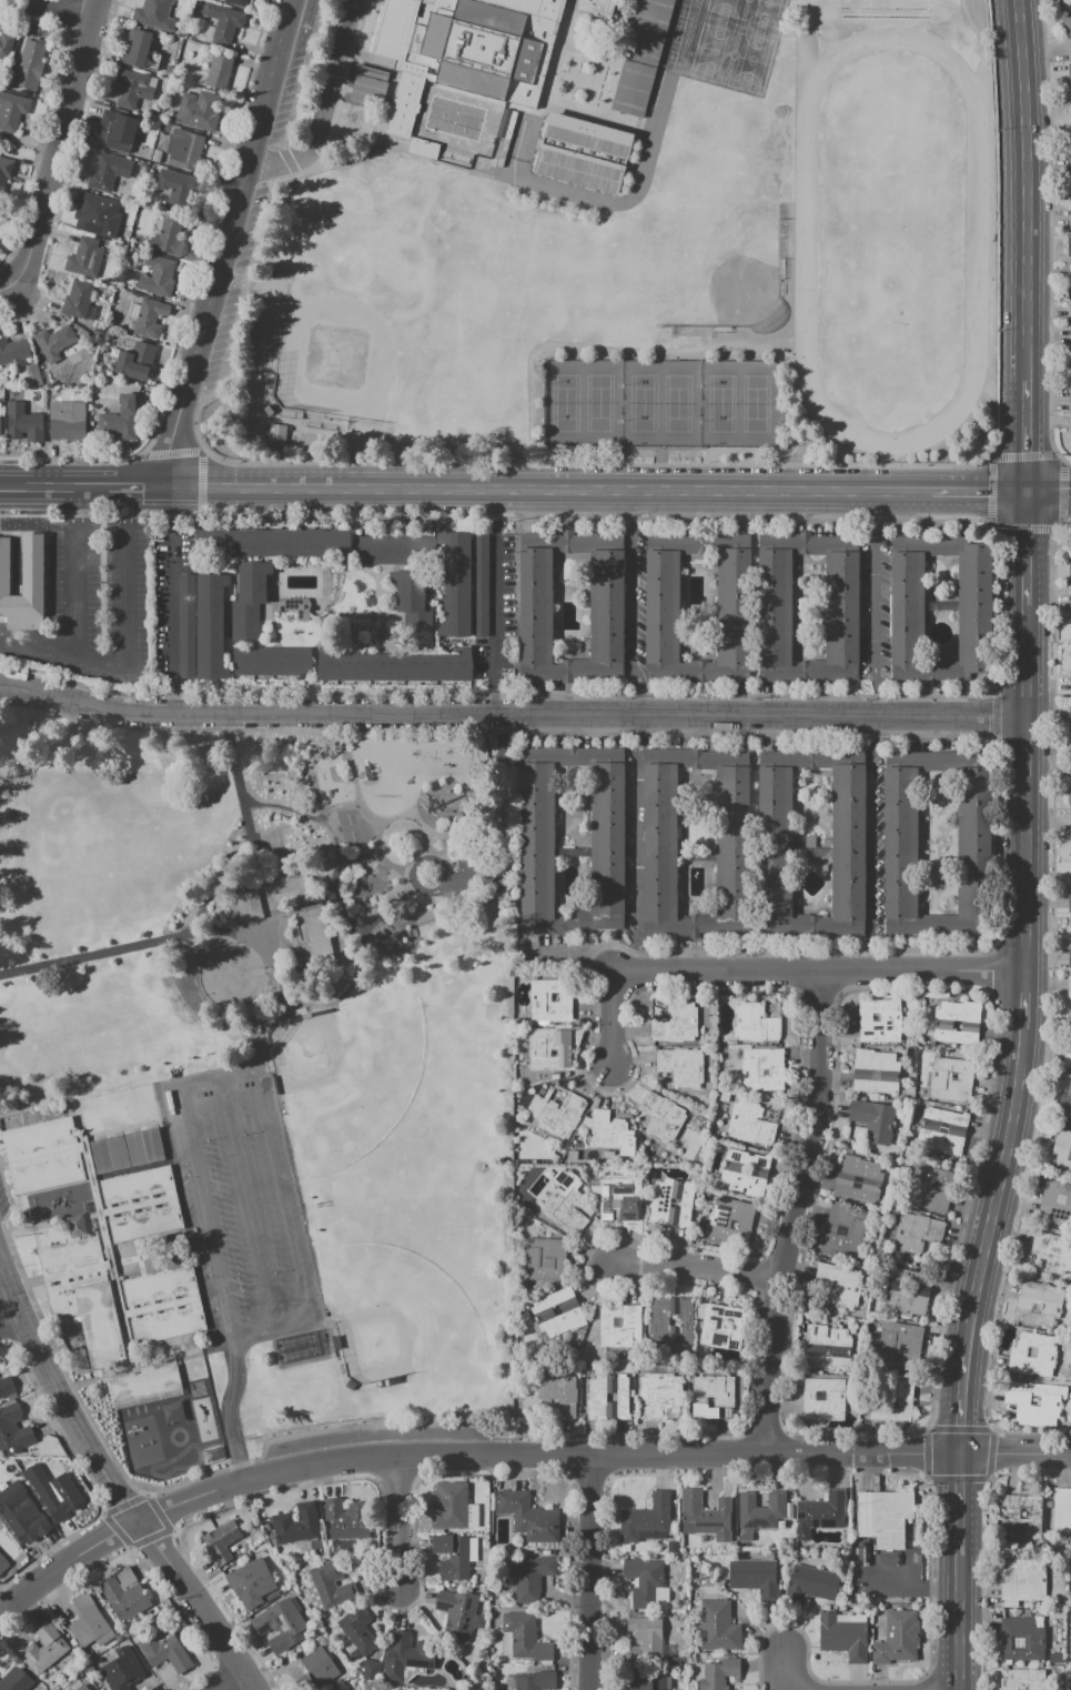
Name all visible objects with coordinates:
building: (188, 1)
building: (198, 2)
building: (236, 2)
building: (1070, 3)
building: (595, 7)
track: (880, 7)
road: (70, 8)
park: (724, 10)
park: (749, 10)
building: (146, 13)
park: (762, 16)
track: (880, 16)
building: (223, 22)
building: (1067, 27)
building: (393, 28)
building: (647, 30)
track: (687, 32)
building: (6, 44)
building: (127, 44)
building: (485, 46)
park: (713, 50)
building: (140, 52)
park: (731, 54)
park: (750, 60)
building: (31, 62)
building: (220, 70)
building: (1069, 72)
building: (132, 88)
building: (632, 88)
building: (402, 104)
road: (322, 105)
building: (11, 110)
building: (199, 110)
building: (118, 131)
building: (1070, 133)
building: (587, 134)
road: (61, 142)
building: (184, 149)
building: (425, 149)
building: (156, 155)
building: (1070, 159)
building: (577, 168)
building: (4, 170)
building: (108, 171)
building: (179, 190)
road: (1022, 208)
building: (98, 214)
building: (1070, 221)
building: (168, 235)
park: (891, 237)
track: (976, 241)
road: (228, 242)
building: (1069, 248)
building: (84, 256)
park: (704, 258)
building: (156, 275)
park: (653, 284)
road: (7, 286)
park: (400, 293)
building: (78, 298)
building: (1069, 311)
building: (149, 318)
building: (1070, 335)
building: (54, 342)
building: (13, 350)
building: (135, 361)
building: (1070, 400)
park: (660, 403)
building: (121, 418)
building: (68, 420)
building: (23, 422)
building: (1070, 422)
road: (1025, 455)
road: (660, 469)
road: (52, 484)
road: (134, 485)
road: (547, 490)
road: (978, 494)
traffic signals: (1025, 495)
road: (1048, 495)
road: (630, 506)
road: (178, 514)
road: (1025, 531)
building: (284, 543)
building: (380, 550)
building: (1069, 565)
road: (75, 567)
building: (22, 577)
building: (456, 583)
building: (478, 584)
road: (630, 596)
building: (249, 600)
road: (125, 601)
parking lot: (93, 602)
building: (1070, 602)
road: (873, 605)
building: (606, 606)
building: (412, 607)
building: (732, 607)
building: (774, 607)
road: (173, 608)
building: (906, 608)
road: (493, 624)
building: (210, 625)
road: (38, 645)
building: (270, 661)
building: (394, 666)
road: (639, 690)
road: (512, 713)
building: (1070, 716)
road: (639, 730)
road: (503, 788)
building: (1069, 795)
road: (344, 804)
road: (413, 819)
building: (1070, 824)
building: (537, 841)
road: (638, 843)
building: (659, 843)
building: (847, 843)
road: (871, 843)
building: (973, 844)
road: (356, 857)
road: (424, 857)
road: (474, 869)
parking lot: (476, 872)
park: (236, 882)
building: (1069, 903)
building: (247, 905)
road: (296, 906)
road: (202, 912)
road: (444, 915)
road: (370, 922)
road: (235, 930)
building: (317, 938)
road: (992, 948)
road: (569, 952)
building: (1070, 956)
road: (637, 957)
road: (819, 973)
road: (994, 973)
building: (1069, 992)
building: (554, 996)
road: (991, 997)
building: (549, 1000)
road: (309, 1003)
building: (1070, 1014)
road: (612, 1016)
building: (879, 1020)
building: (956, 1022)
building: (754, 1023)
building: (676, 1024)
building: (956, 1026)
building: (262, 1027)
building: (549, 1048)
building: (1067, 1052)
building: (554, 1053)
building: (681, 1066)
building: (761, 1069)
building: (875, 1073)
road: (1047, 1073)
road: (216, 1076)
park: (344, 1076)
building: (950, 1079)
building: (1065, 1107)
building: (556, 1111)
building: (663, 1117)
building: (872, 1119)
building: (750, 1124)
building: (607, 1129)
road: (1010, 1129)
building: (942, 1130)
building: (145, 1149)
building: (1062, 1151)
building: (42, 1155)
building: (110, 1157)
building: (745, 1170)
building: (731, 1175)
building: (858, 1179)
building: (934, 1186)
building: (137, 1187)
building: (930, 1188)
road: (279, 1199)
building: (622, 1201)
building: (671, 1203)
building: (1057, 1203)
parking lot: (240, 1204)
road: (240, 1205)
building: (565, 1207)
road: (797, 1214)
road: (203, 1216)
building: (144, 1219)
building: (730, 1219)
building: (847, 1233)
building: (915, 1234)
building: (1052, 1253)
building: (545, 1258)
road: (698, 1265)
flagpole: (30, 1270)
building: (840, 1282)
building: (159, 1289)
building: (907, 1291)
building: (83, 1297)
building: (1041, 1304)
building: (556, 1310)
road: (7, 1311)
park: (393, 1311)
building: (540, 1315)
building: (674, 1319)
building: (658, 1320)
building: (166, 1321)
building: (726, 1324)
building: (619, 1326)
building: (720, 1326)
road: (270, 1331)
building: (900, 1344)
building: (827, 1347)
building: (902, 1348)
building: (1031, 1351)
building: (1045, 1354)
building: (144, 1382)
building: (7, 1387)
building: (659, 1394)
building: (558, 1395)
building: (607, 1397)
building: (713, 1397)
building: (824, 1398)
building: (890, 1399)
building: (1034, 1401)
building: (709, 1402)
building: (172, 1412)
road: (229, 1412)
building: (13, 1429)
road: (656, 1455)
traffic signals: (963, 1455)
track: (178, 1461)
road: (117, 1481)
building: (63, 1497)
road: (124, 1502)
building: (452, 1507)
building: (761, 1509)
building: (1070, 1509)
building: (1061, 1510)
road: (158, 1511)
building: (820, 1513)
building: (1009, 1513)
building: (1023, 1513)
building: (526, 1515)
building: (705, 1516)
building: (883, 1516)
building: (346, 1519)
building: (646, 1519)
road: (397, 1520)
building: (24, 1523)
building: (296, 1523)
road: (115, 1529)
road: (117, 1538)
road: (149, 1538)
building: (221, 1541)
building: (671, 1547)
road: (128, 1549)
building: (454, 1555)
road: (138, 1558)
building: (3, 1562)
road: (587, 1572)
building: (250, 1578)
building: (532, 1578)
building: (755, 1578)
building: (1023, 1579)
building: (647, 1582)
building: (810, 1585)
building: (329, 1587)
road: (888, 1588)
building: (124, 1596)
building: (456, 1613)
building: (280, 1624)
building: (90, 1626)
building: (718, 1627)
building: (358, 1630)
building: (523, 1637)
building: (843, 1637)
building: (898, 1637)
building: (643, 1641)
building: (1018, 1642)
building: (1033, 1642)
building: (44, 1648)
building: (165, 1651)
building: (405, 1656)
building: (315, 1670)
building: (371, 1670)
road: (786, 1670)
building: (120, 1671)
building: (719, 1673)
building: (1023, 1679)
building: (16, 1680)
building: (535, 1680)
road: (234, 1681)
building: (643, 1681)
building: (78, 1687)
building: (1021, 1687)

